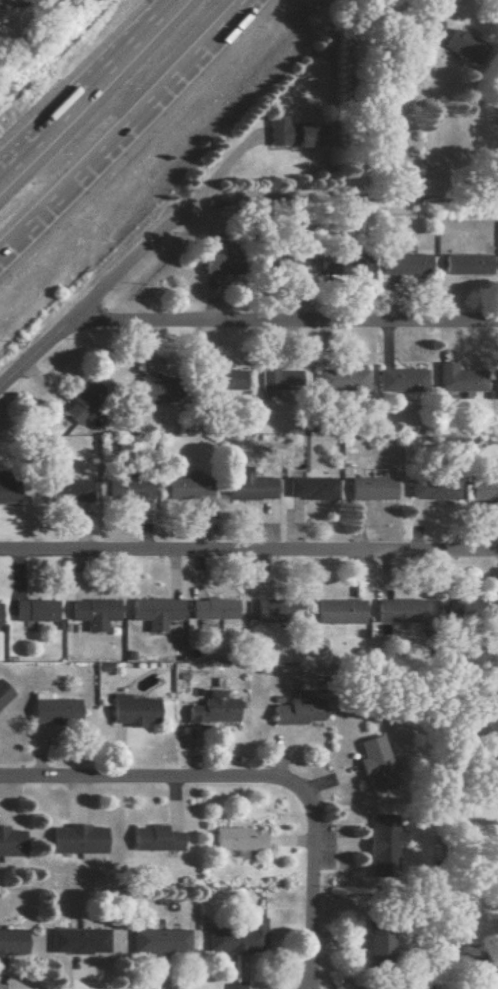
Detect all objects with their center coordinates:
road: (170, 2)
road: (19, 5)
building: (434, 29)
building: (460, 43)
road: (87, 87)
road: (125, 127)
building: (277, 131)
road: (429, 132)
road: (2, 171)
road: (2, 172)
road: (337, 206)
building: (217, 263)
building: (467, 264)
building: (406, 265)
building: (360, 266)
road: (89, 308)
road: (286, 324)
building: (278, 377)
building: (459, 378)
building: (227, 379)
building: (341, 379)
building: (401, 380)
building: (74, 410)
building: (247, 485)
building: (485, 486)
building: (186, 487)
building: (310, 488)
building: (371, 488)
building: (127, 489)
building: (432, 489)
building: (68, 490)
building: (8, 492)
road: (249, 553)
building: (456, 607)
building: (212, 608)
building: (35, 609)
building: (495, 609)
building: (400, 610)
building: (155, 611)
building: (276, 611)
building: (338, 611)
building: (94, 613)
building: (4, 693)
building: (212, 708)
building: (54, 709)
building: (132, 710)
building: (482, 724)
building: (374, 762)
road: (150, 782)
building: (237, 838)
building: (77, 839)
building: (154, 839)
building: (11, 842)
building: (381, 848)
road: (314, 886)
building: (237, 937)
building: (77, 940)
building: (158, 940)
building: (11, 941)
building: (376, 943)

